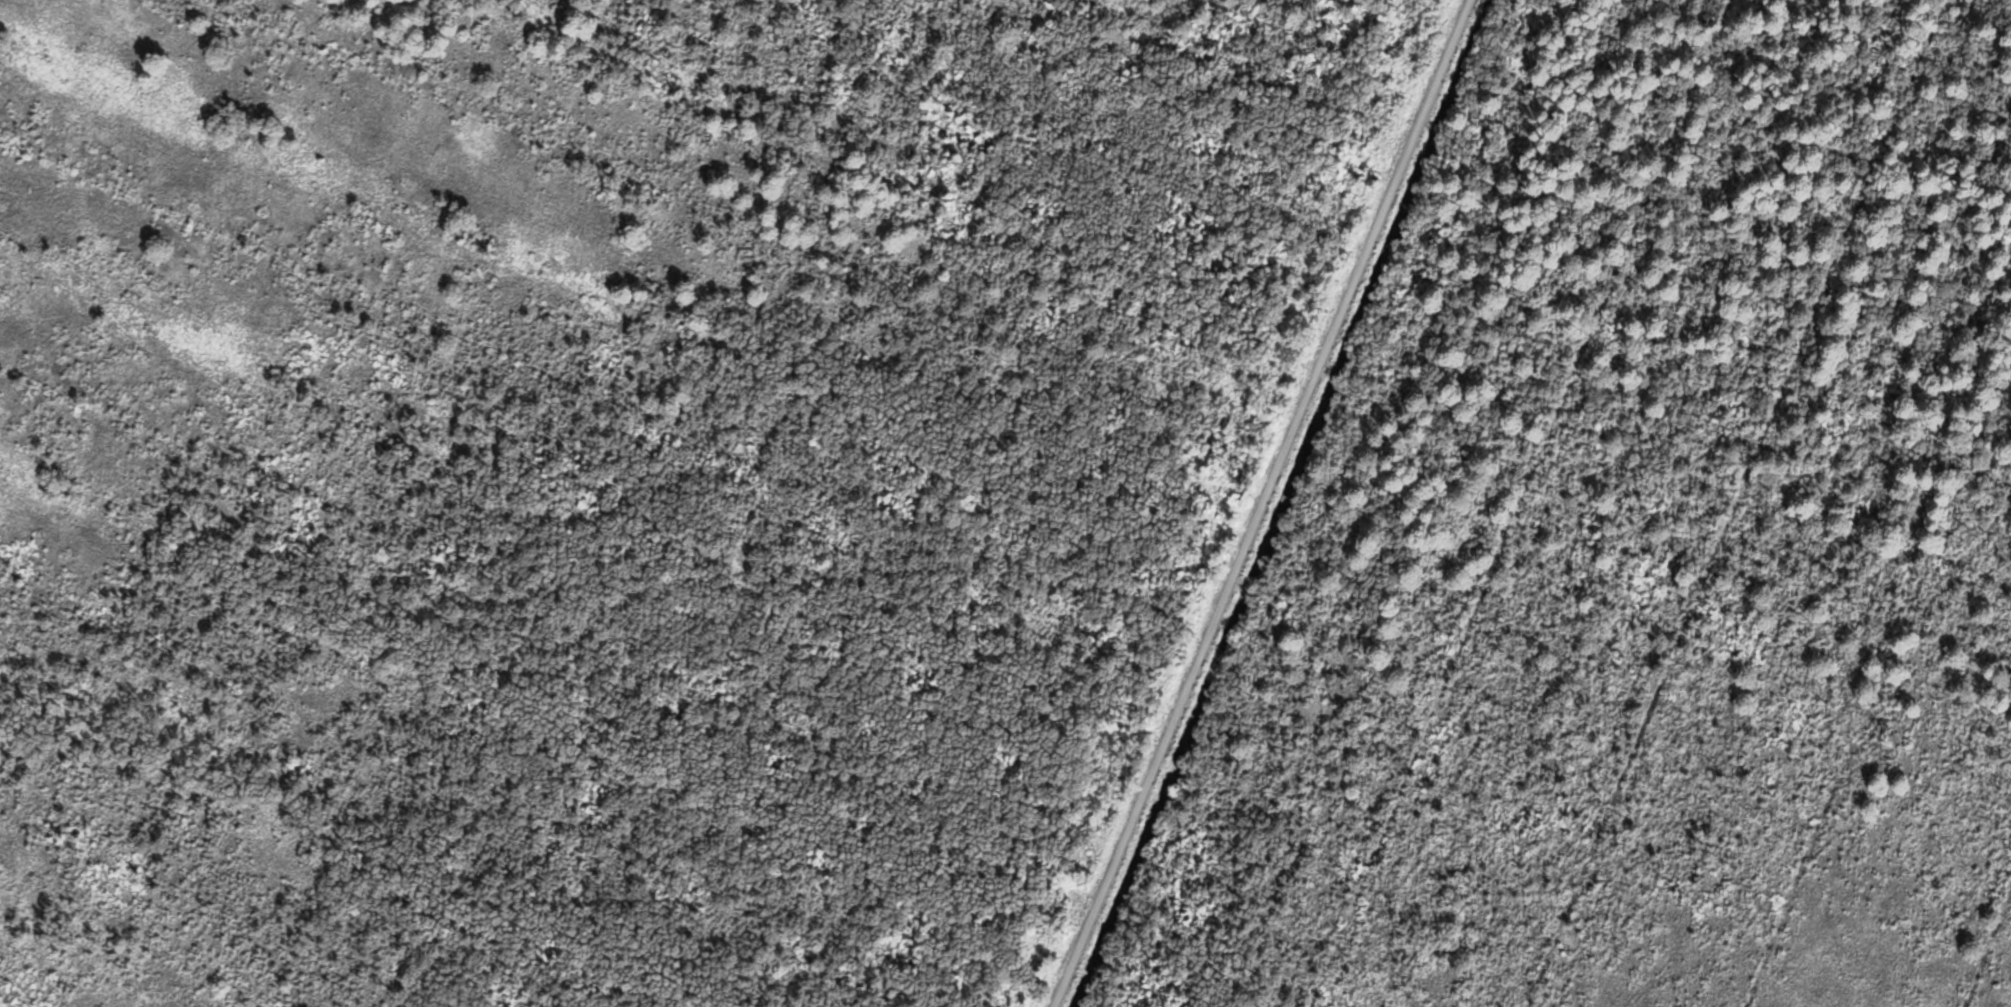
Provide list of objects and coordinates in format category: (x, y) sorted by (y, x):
road: (1262, 503)

